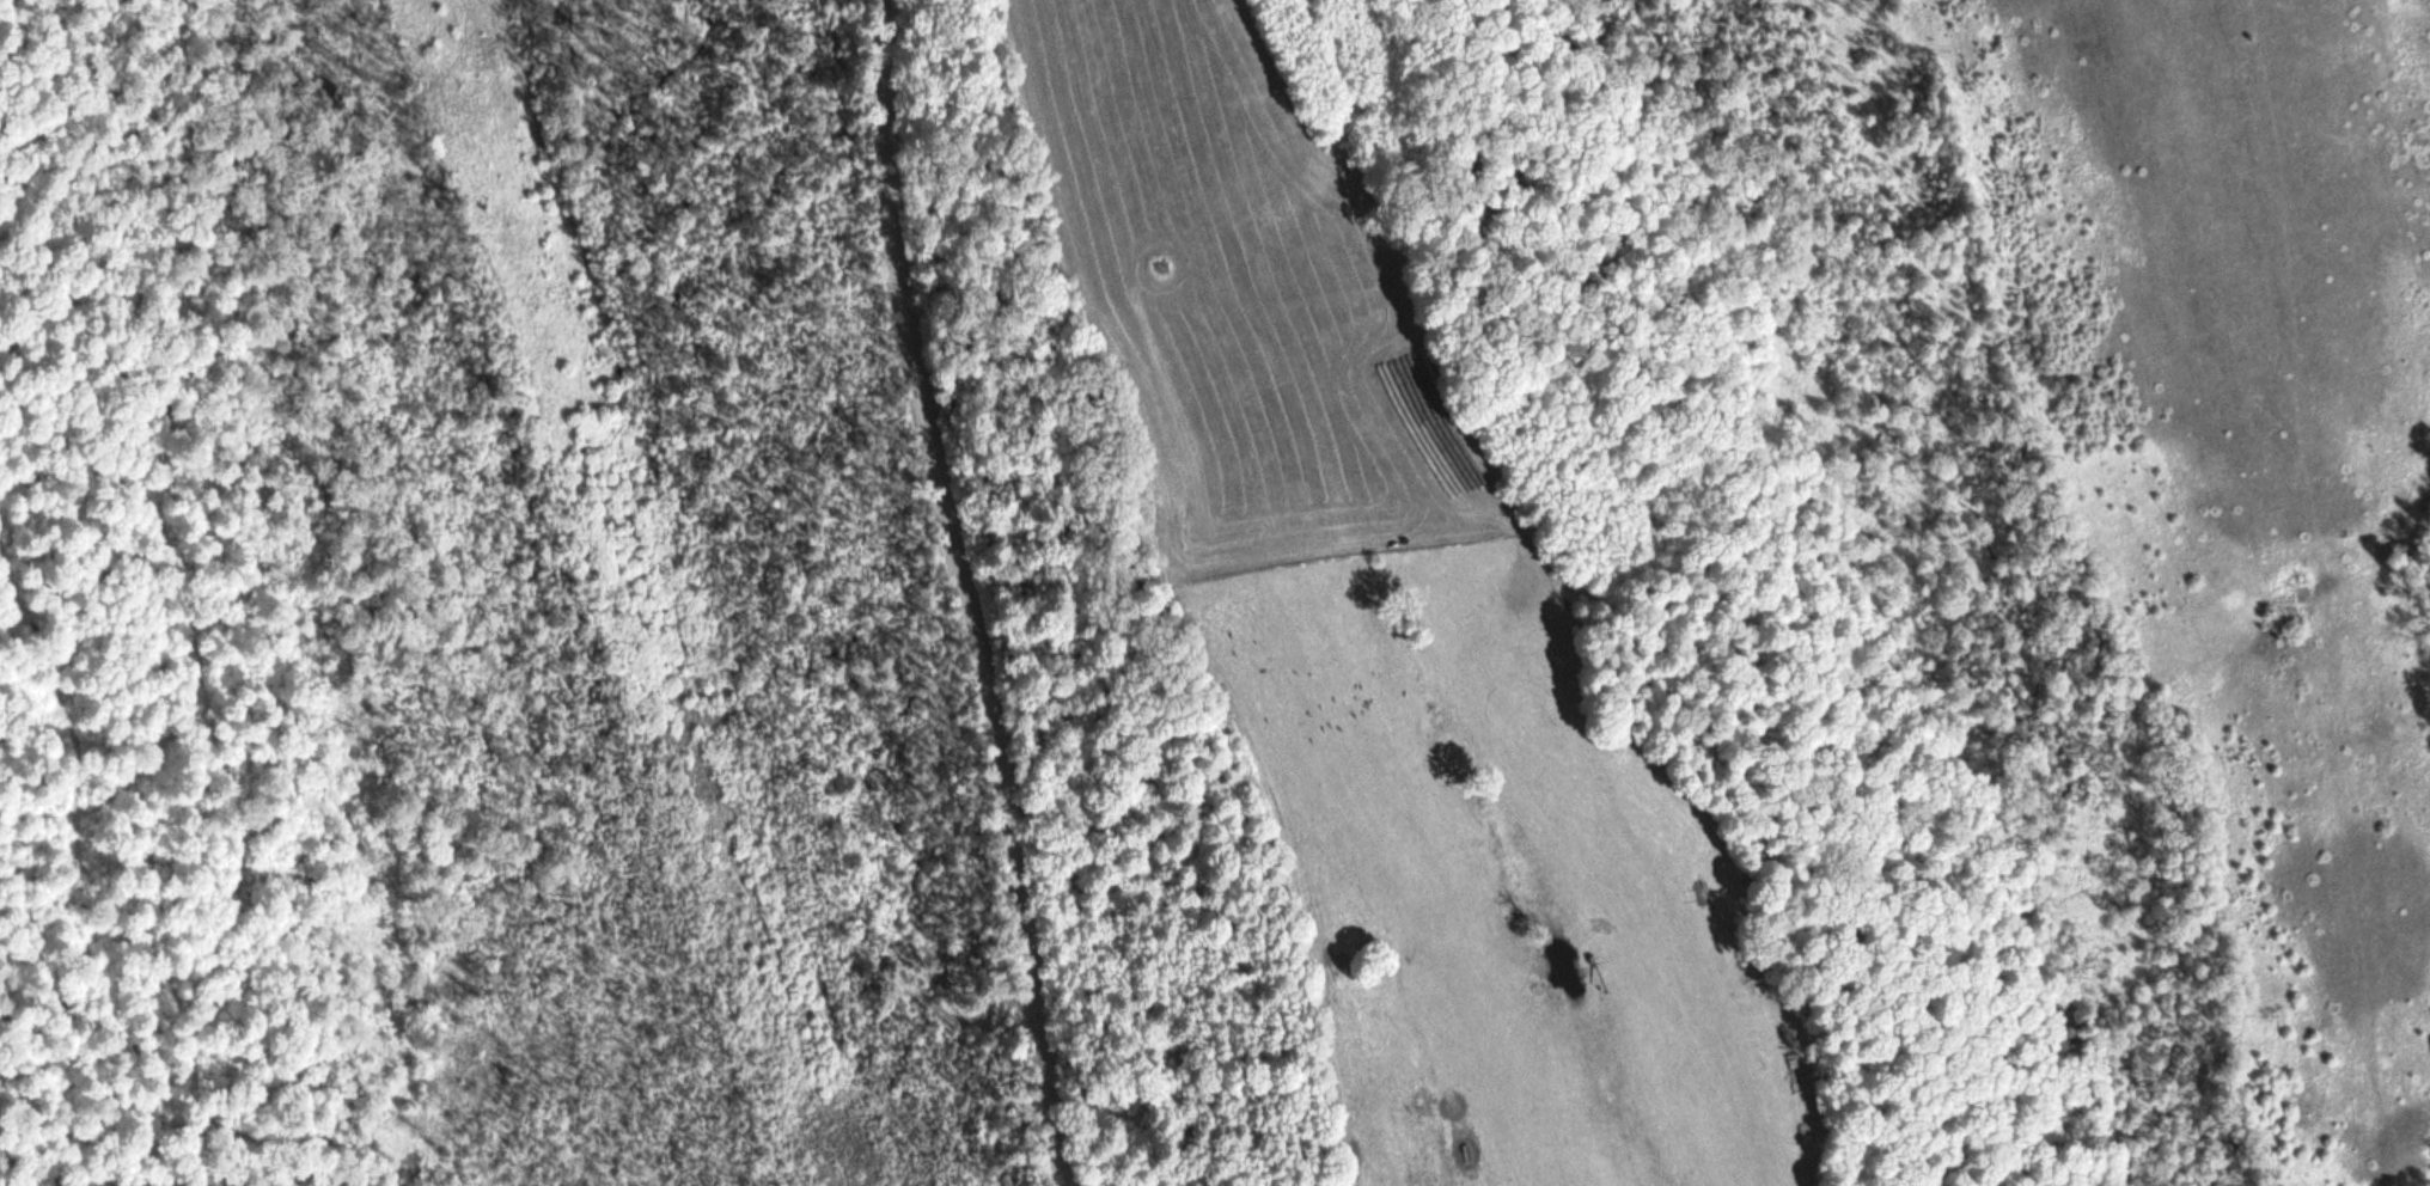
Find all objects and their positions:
road: (971, 592)

